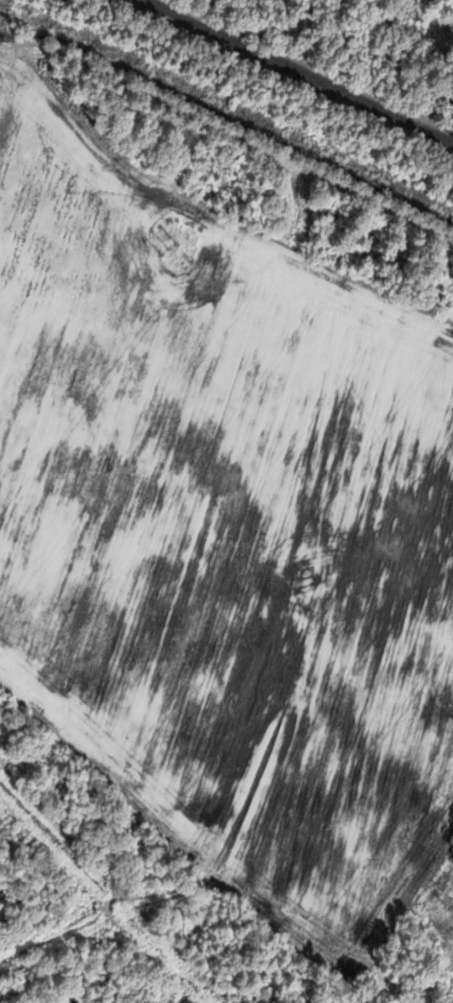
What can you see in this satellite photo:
railway: (301, 70)
power tower: (171, 248)
power tower: (313, 573)
power tower: (452, 899)

